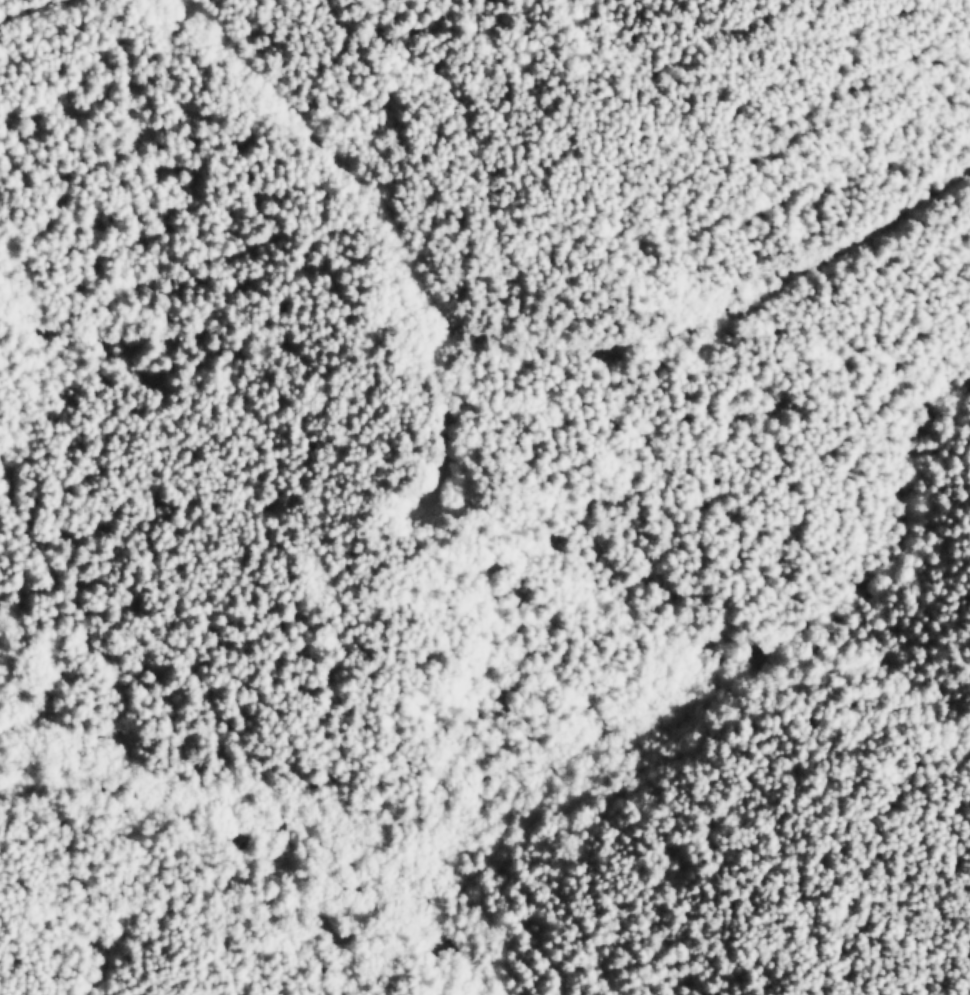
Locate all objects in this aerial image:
road: (38, 6)
road: (517, 346)

